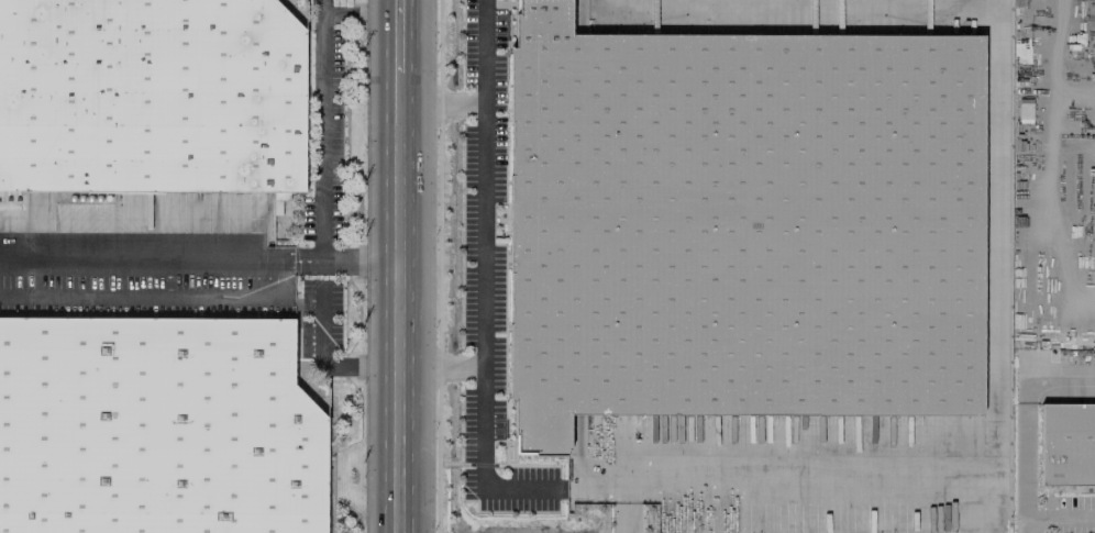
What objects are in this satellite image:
road: (398, 35)
building: (151, 96)
road: (485, 97)
road: (325, 100)
building: (746, 224)
road: (311, 254)
road: (143, 259)
road: (286, 259)
road: (357, 259)
road: (301, 266)
road: (397, 302)
road: (484, 332)
road: (325, 358)
road: (440, 366)
building: (157, 427)
building: (1068, 444)
road: (994, 446)
road: (975, 500)
road: (1052, 512)
building: (671, 528)

